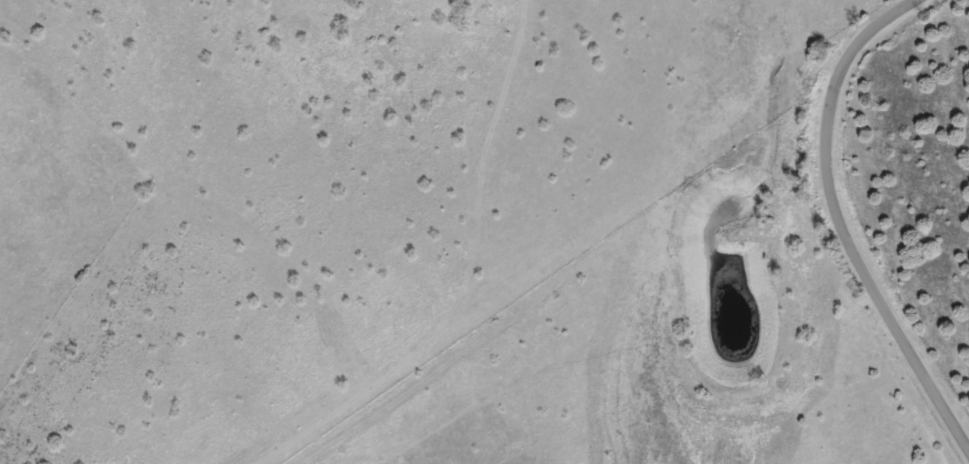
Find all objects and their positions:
road: (832, 222)

